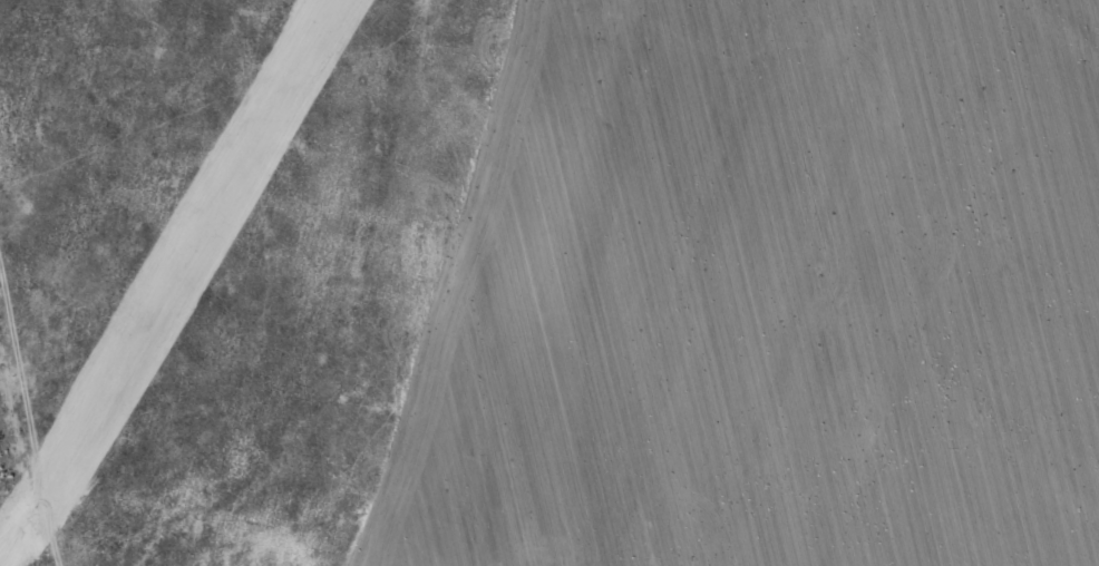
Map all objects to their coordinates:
road: (21, 445)

